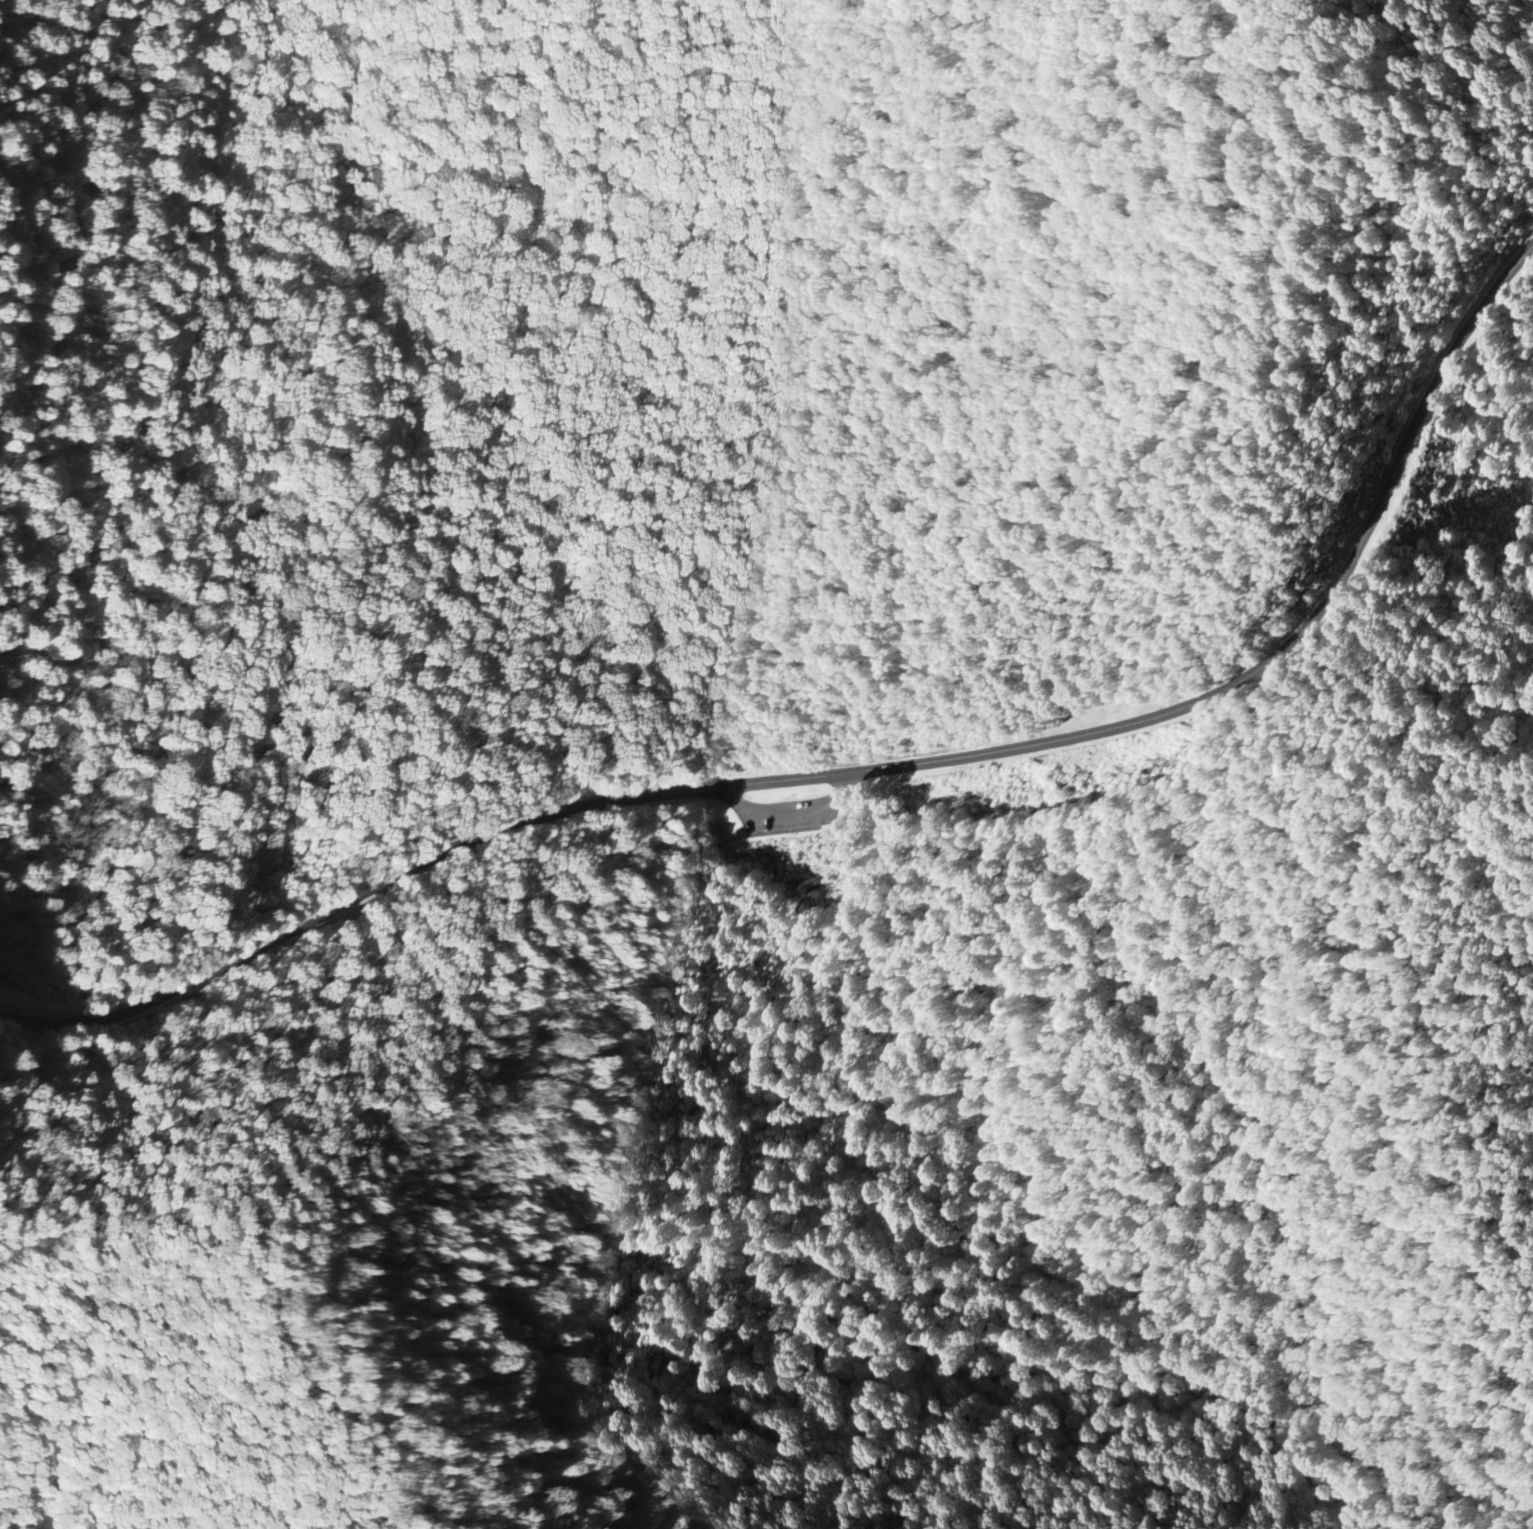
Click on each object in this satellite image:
road: (1442, 33)
road: (1193, 703)
road: (788, 751)
parking lot: (798, 813)
road: (802, 818)
road: (306, 922)
road: (137, 1427)

